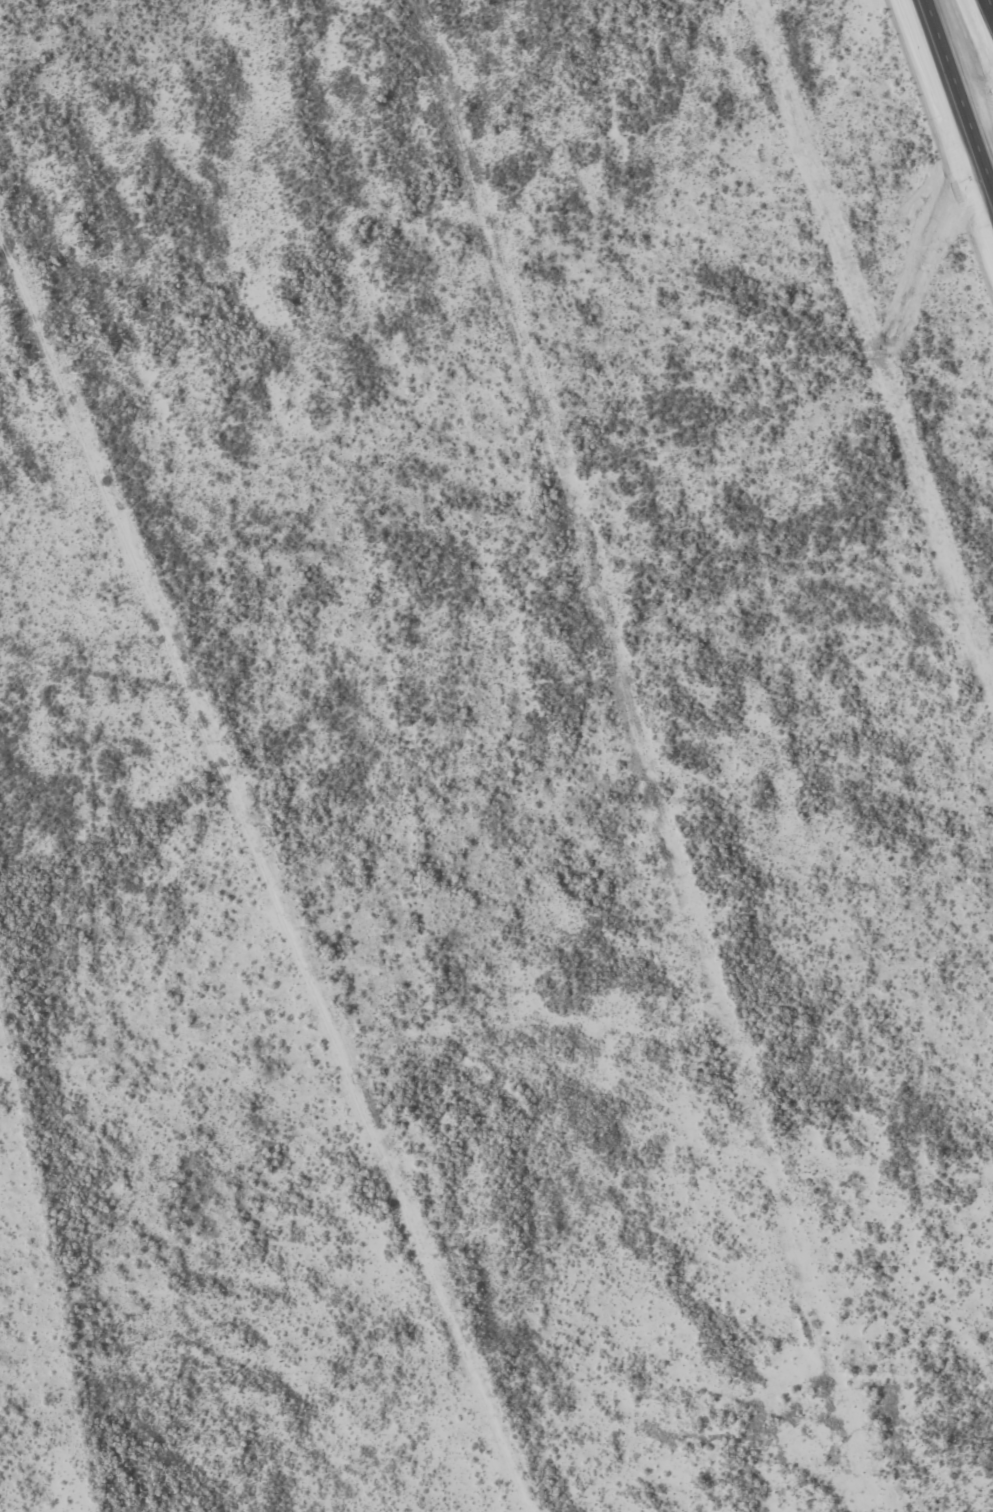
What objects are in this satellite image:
road: (992, 2)

